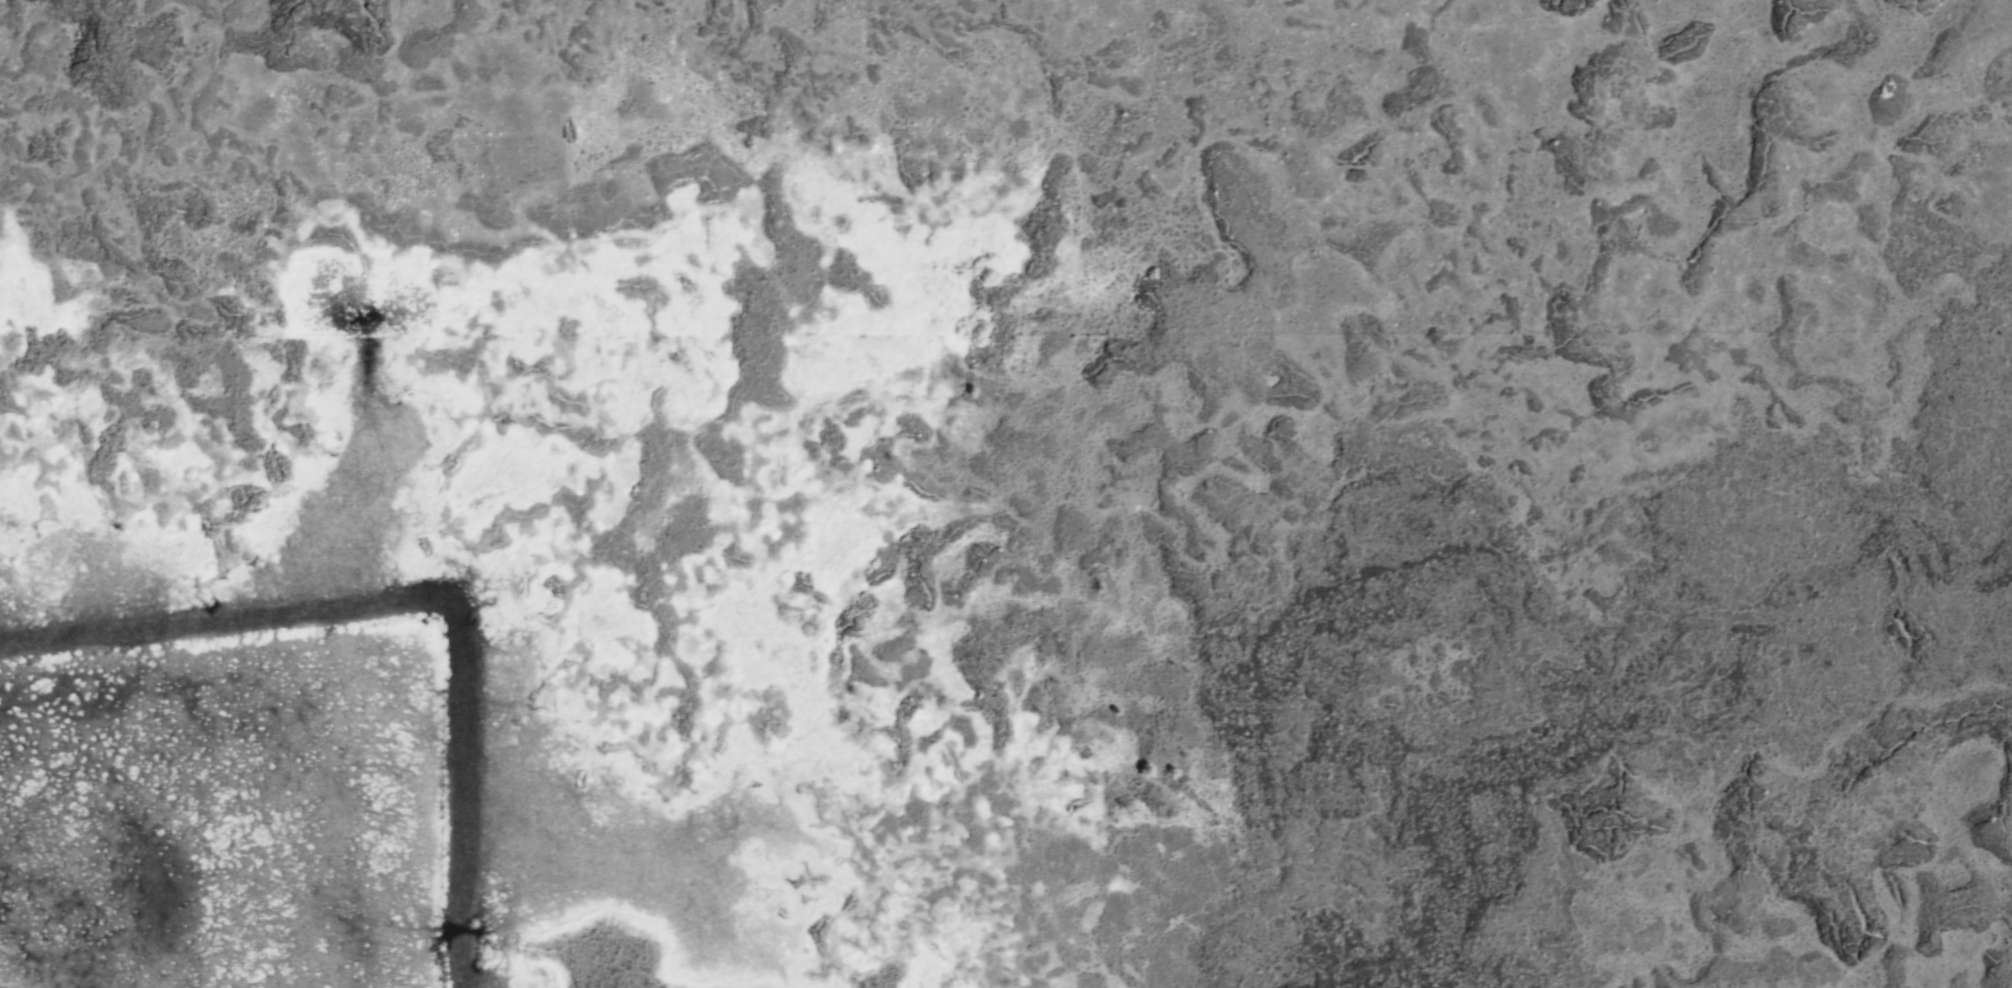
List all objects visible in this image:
building: (1565, 3)

